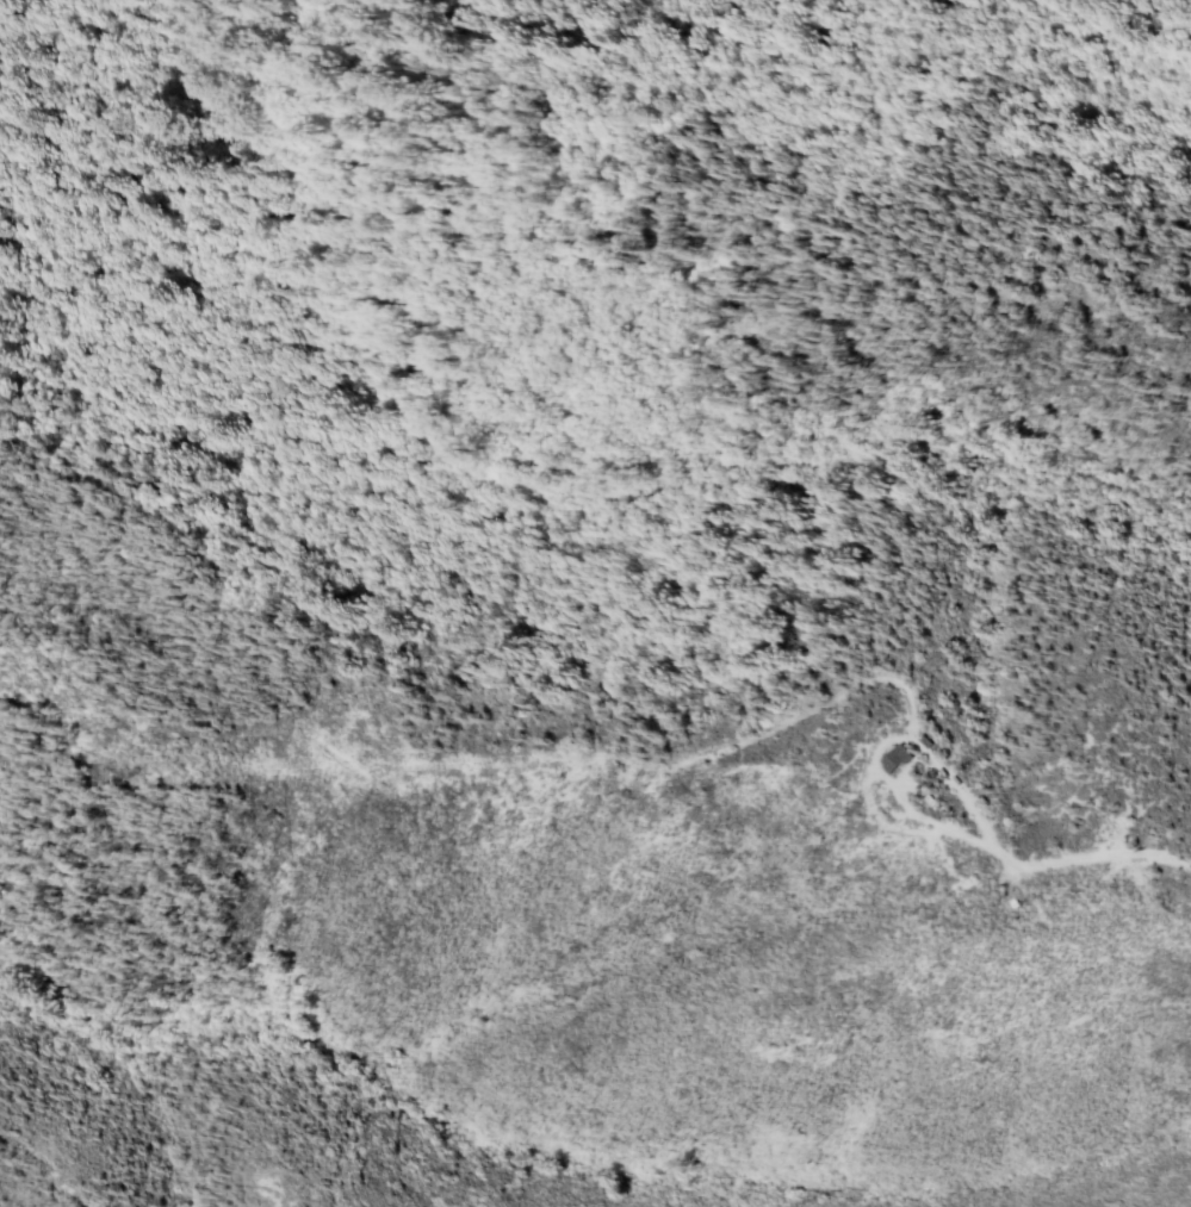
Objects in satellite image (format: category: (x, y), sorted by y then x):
road: (1053, 262)
building: (928, 742)
building: (898, 759)
road: (626, 760)
road: (913, 816)
road: (879, 821)
road: (6, 1136)
road: (54, 1168)
road: (345, 1168)

